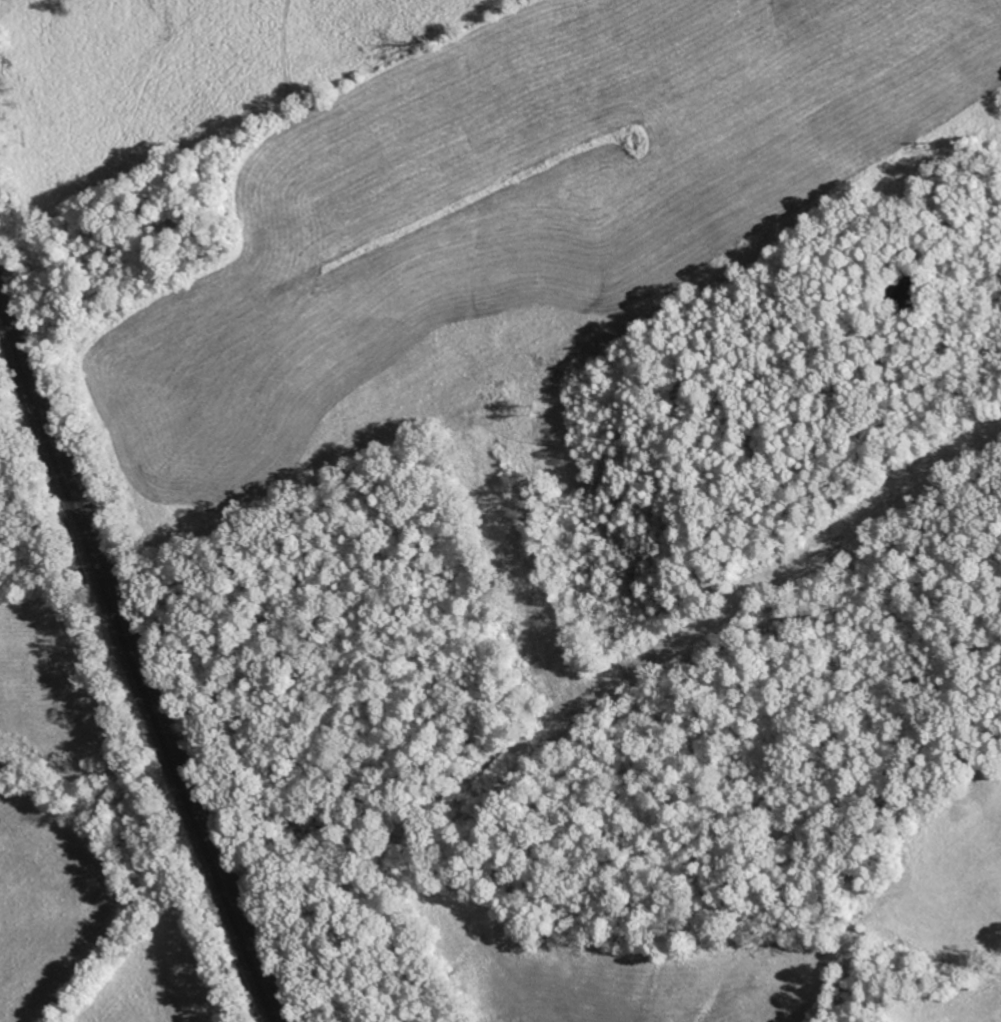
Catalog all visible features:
railway: (138, 651)
railway: (135, 665)

